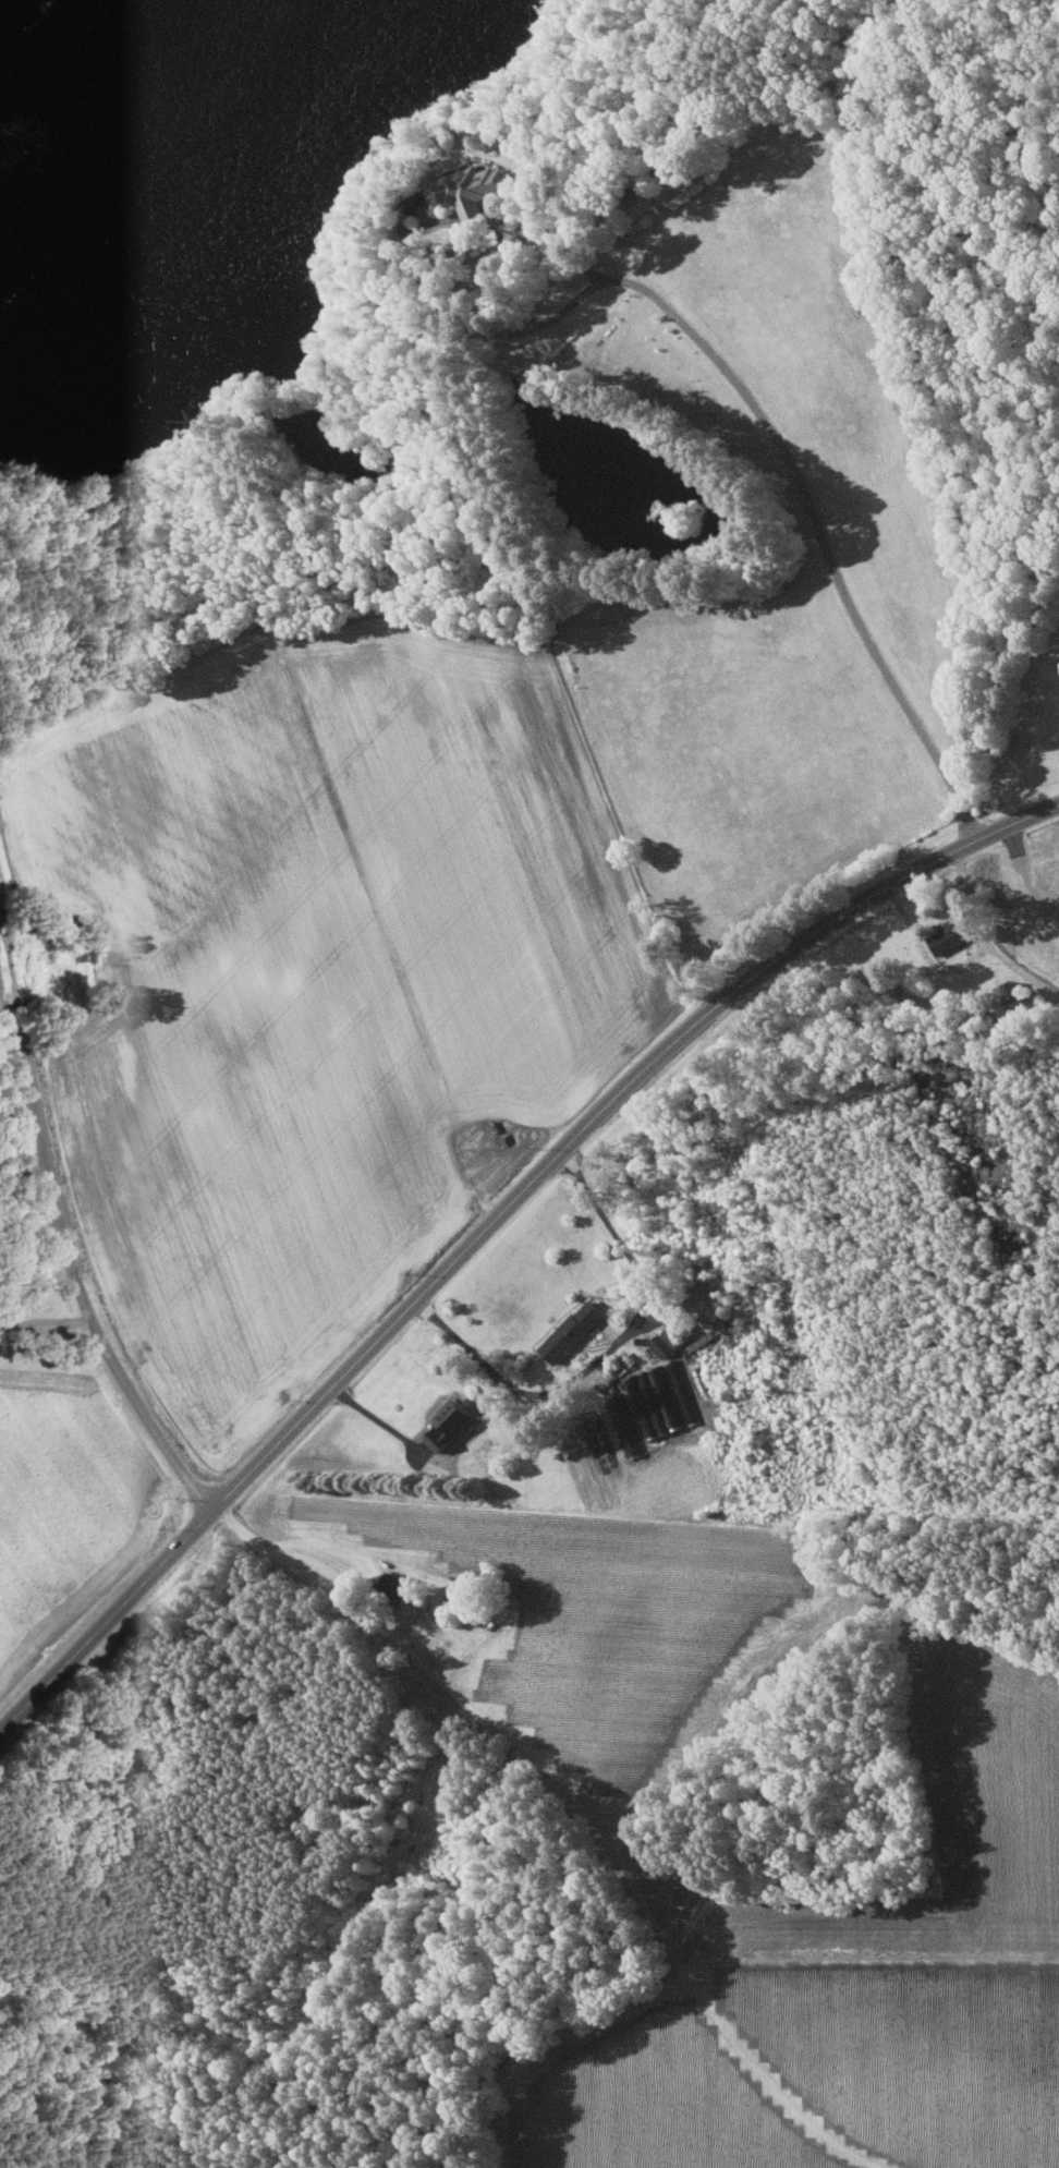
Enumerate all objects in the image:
building: (470, 189)
road: (690, 330)
road: (1024, 874)
building: (949, 937)
road: (985, 938)
crop: (316, 977)
building: (1008, 991)
building: (502, 1138)
road: (494, 1221)
road: (63, 1248)
road: (45, 1324)
building: (571, 1331)
building: (681, 1331)
building: (662, 1345)
road: (609, 1349)
building: (702, 1380)
building: (683, 1390)
building: (667, 1396)
building: (656, 1402)
building: (644, 1406)
road: (378, 1420)
building: (452, 1421)
building: (625, 1425)
crop: (65, 1506)
road: (273, 1547)
road: (346, 1559)
building: (397, 1587)
crop: (609, 1620)
road: (440, 1778)
road: (625, 1865)
crop: (928, 1940)
crop: (656, 2099)

